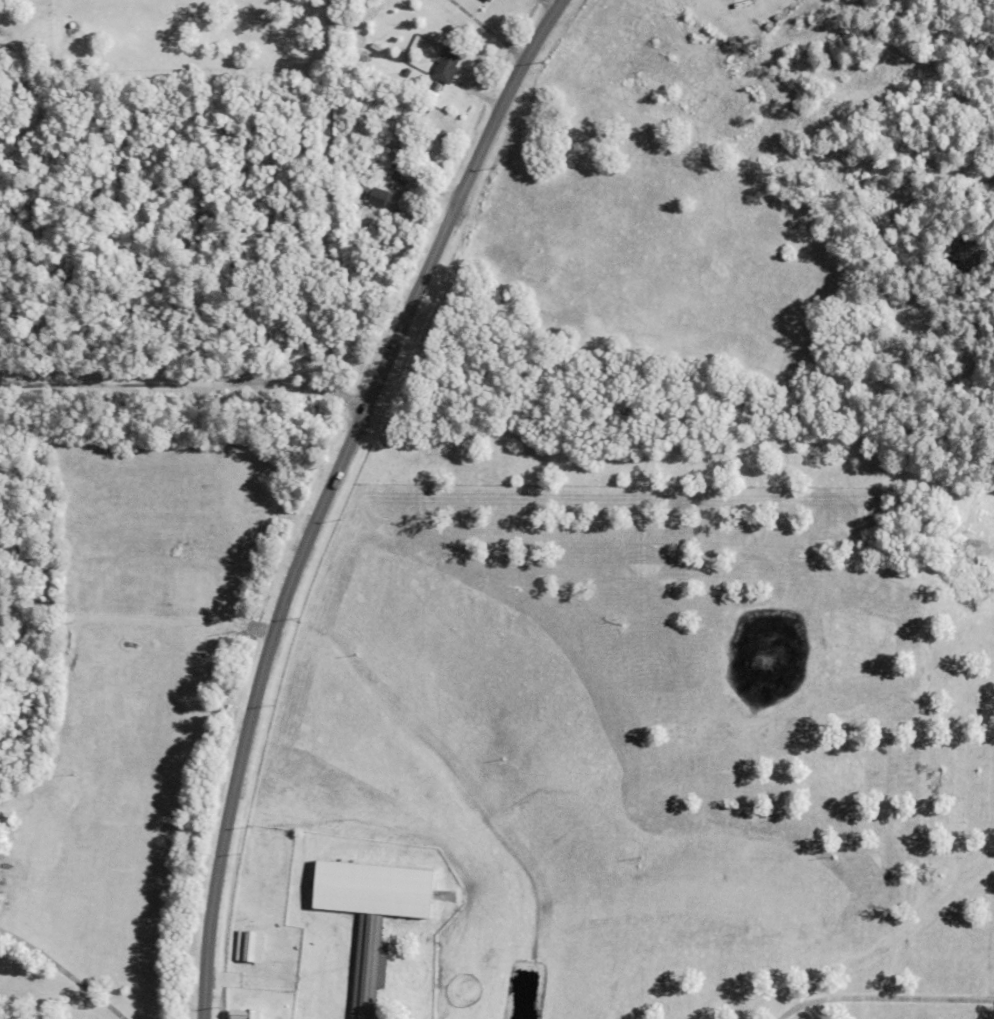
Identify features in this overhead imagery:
building: (489, 0)
building: (492, 0)
building: (637, 21)
road: (490, 29)
building: (378, 46)
building: (447, 64)
building: (799, 74)
building: (410, 130)
building: (385, 154)
road: (326, 194)
building: (379, 196)
road: (184, 379)
road: (329, 491)
building: (245, 884)
building: (373, 914)
building: (247, 946)
building: (425, 963)
road: (60, 973)
road: (882, 995)
building: (301, 1011)
building: (245, 1014)

